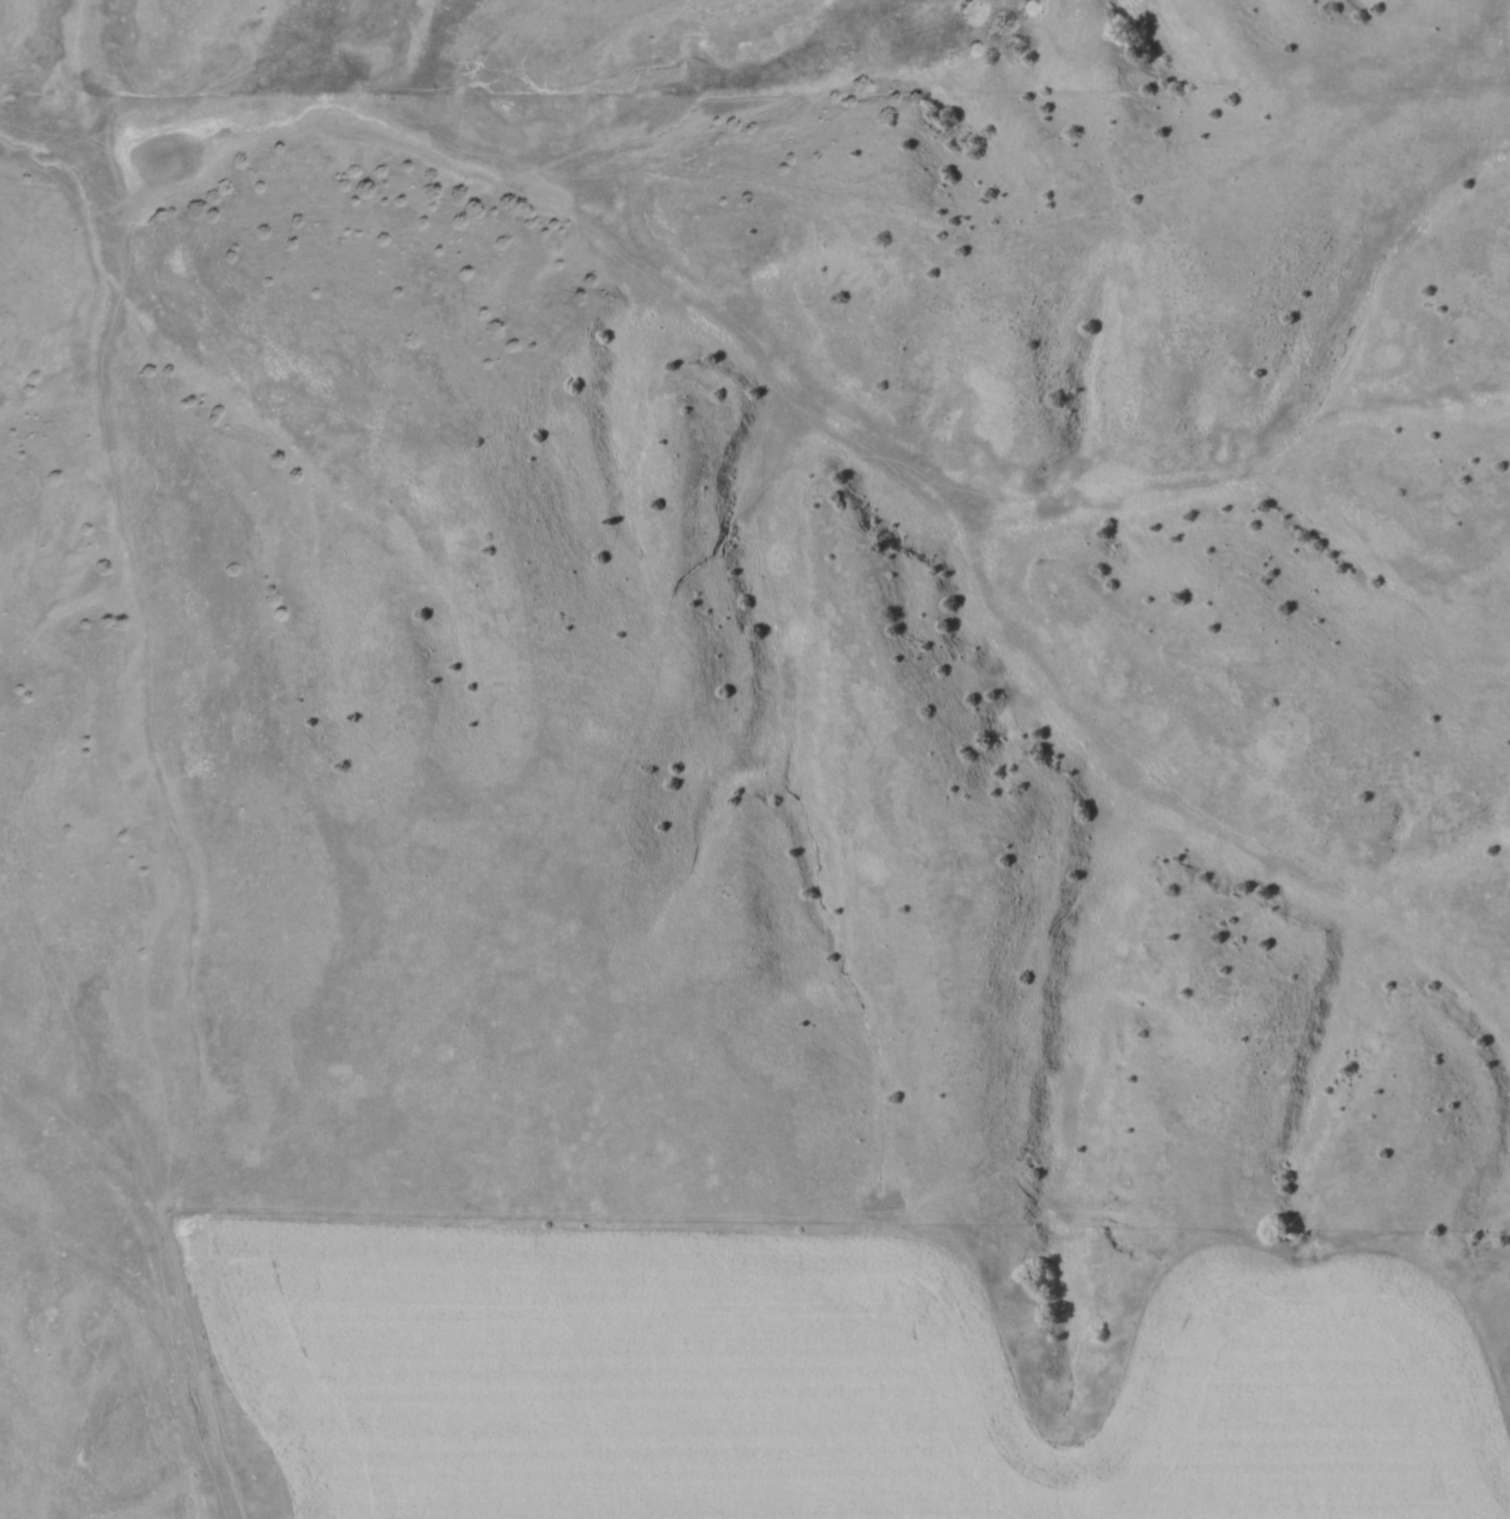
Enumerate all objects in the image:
crop: (826, 1381)

